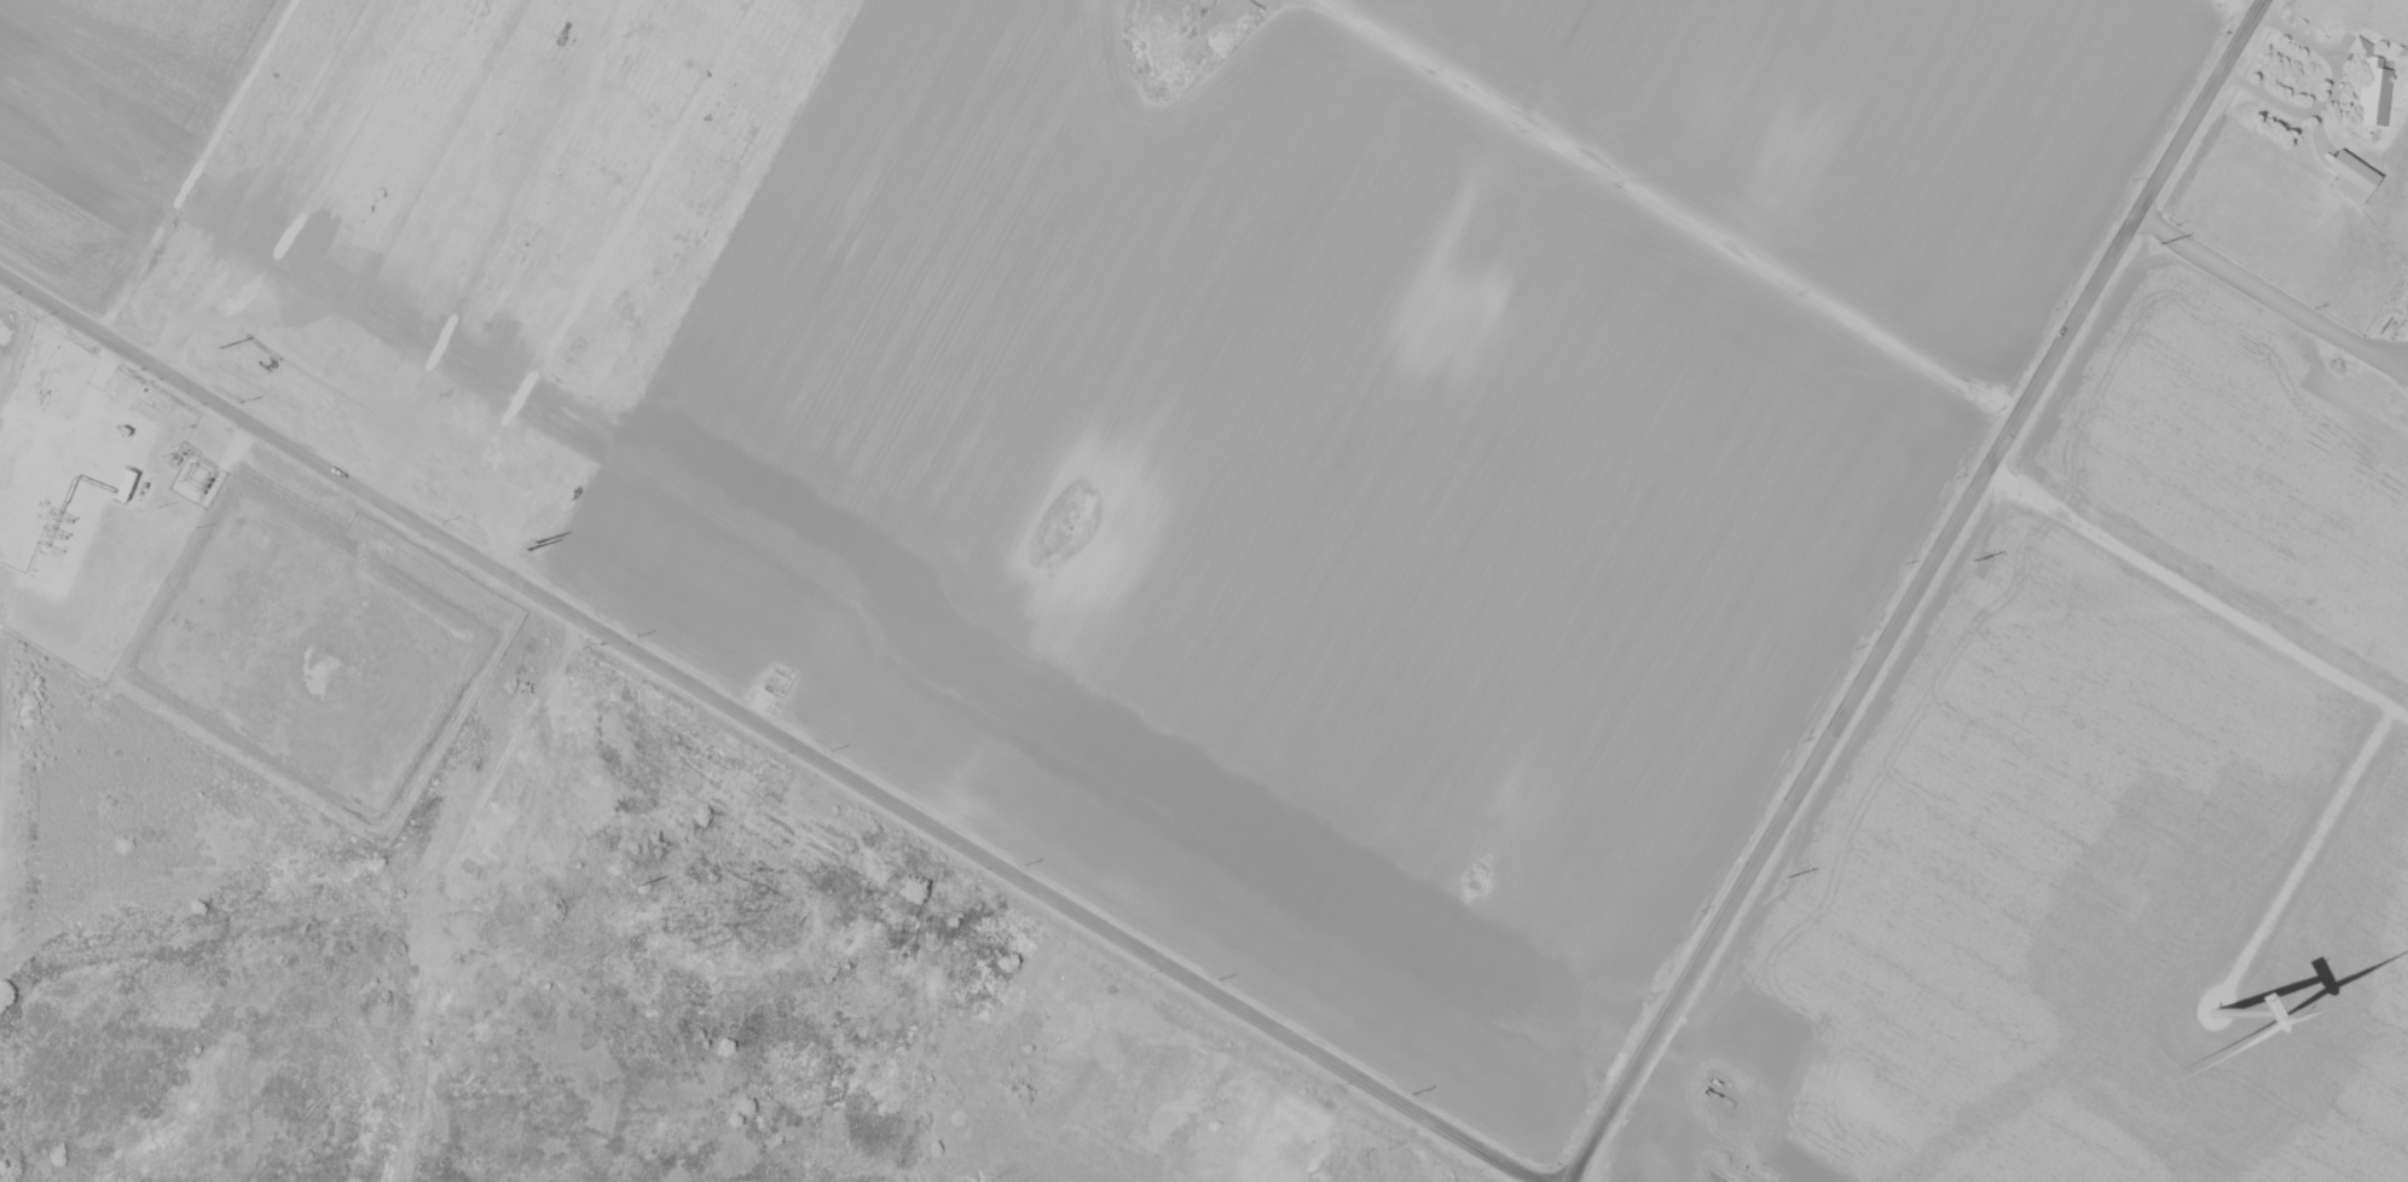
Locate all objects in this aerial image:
building: (2352, 47)
building: (2366, 95)
road: (189, 166)
building: (2343, 178)
road: (1669, 208)
power tower: (2158, 242)
power tower: (216, 349)
power tower: (239, 402)
power substation: (197, 480)
power tower: (442, 521)
power tower: (528, 549)
power tower: (1970, 560)
road: (1916, 589)
power tower: (637, 636)
building: (326, 665)
road: (771, 730)
power tower: (830, 749)
power tower: (1024, 864)
power tower: (1784, 877)
power tower: (636, 887)
power tower: (1217, 979)
wind turbine: (2211, 1018)
power tower: (1412, 1095)

